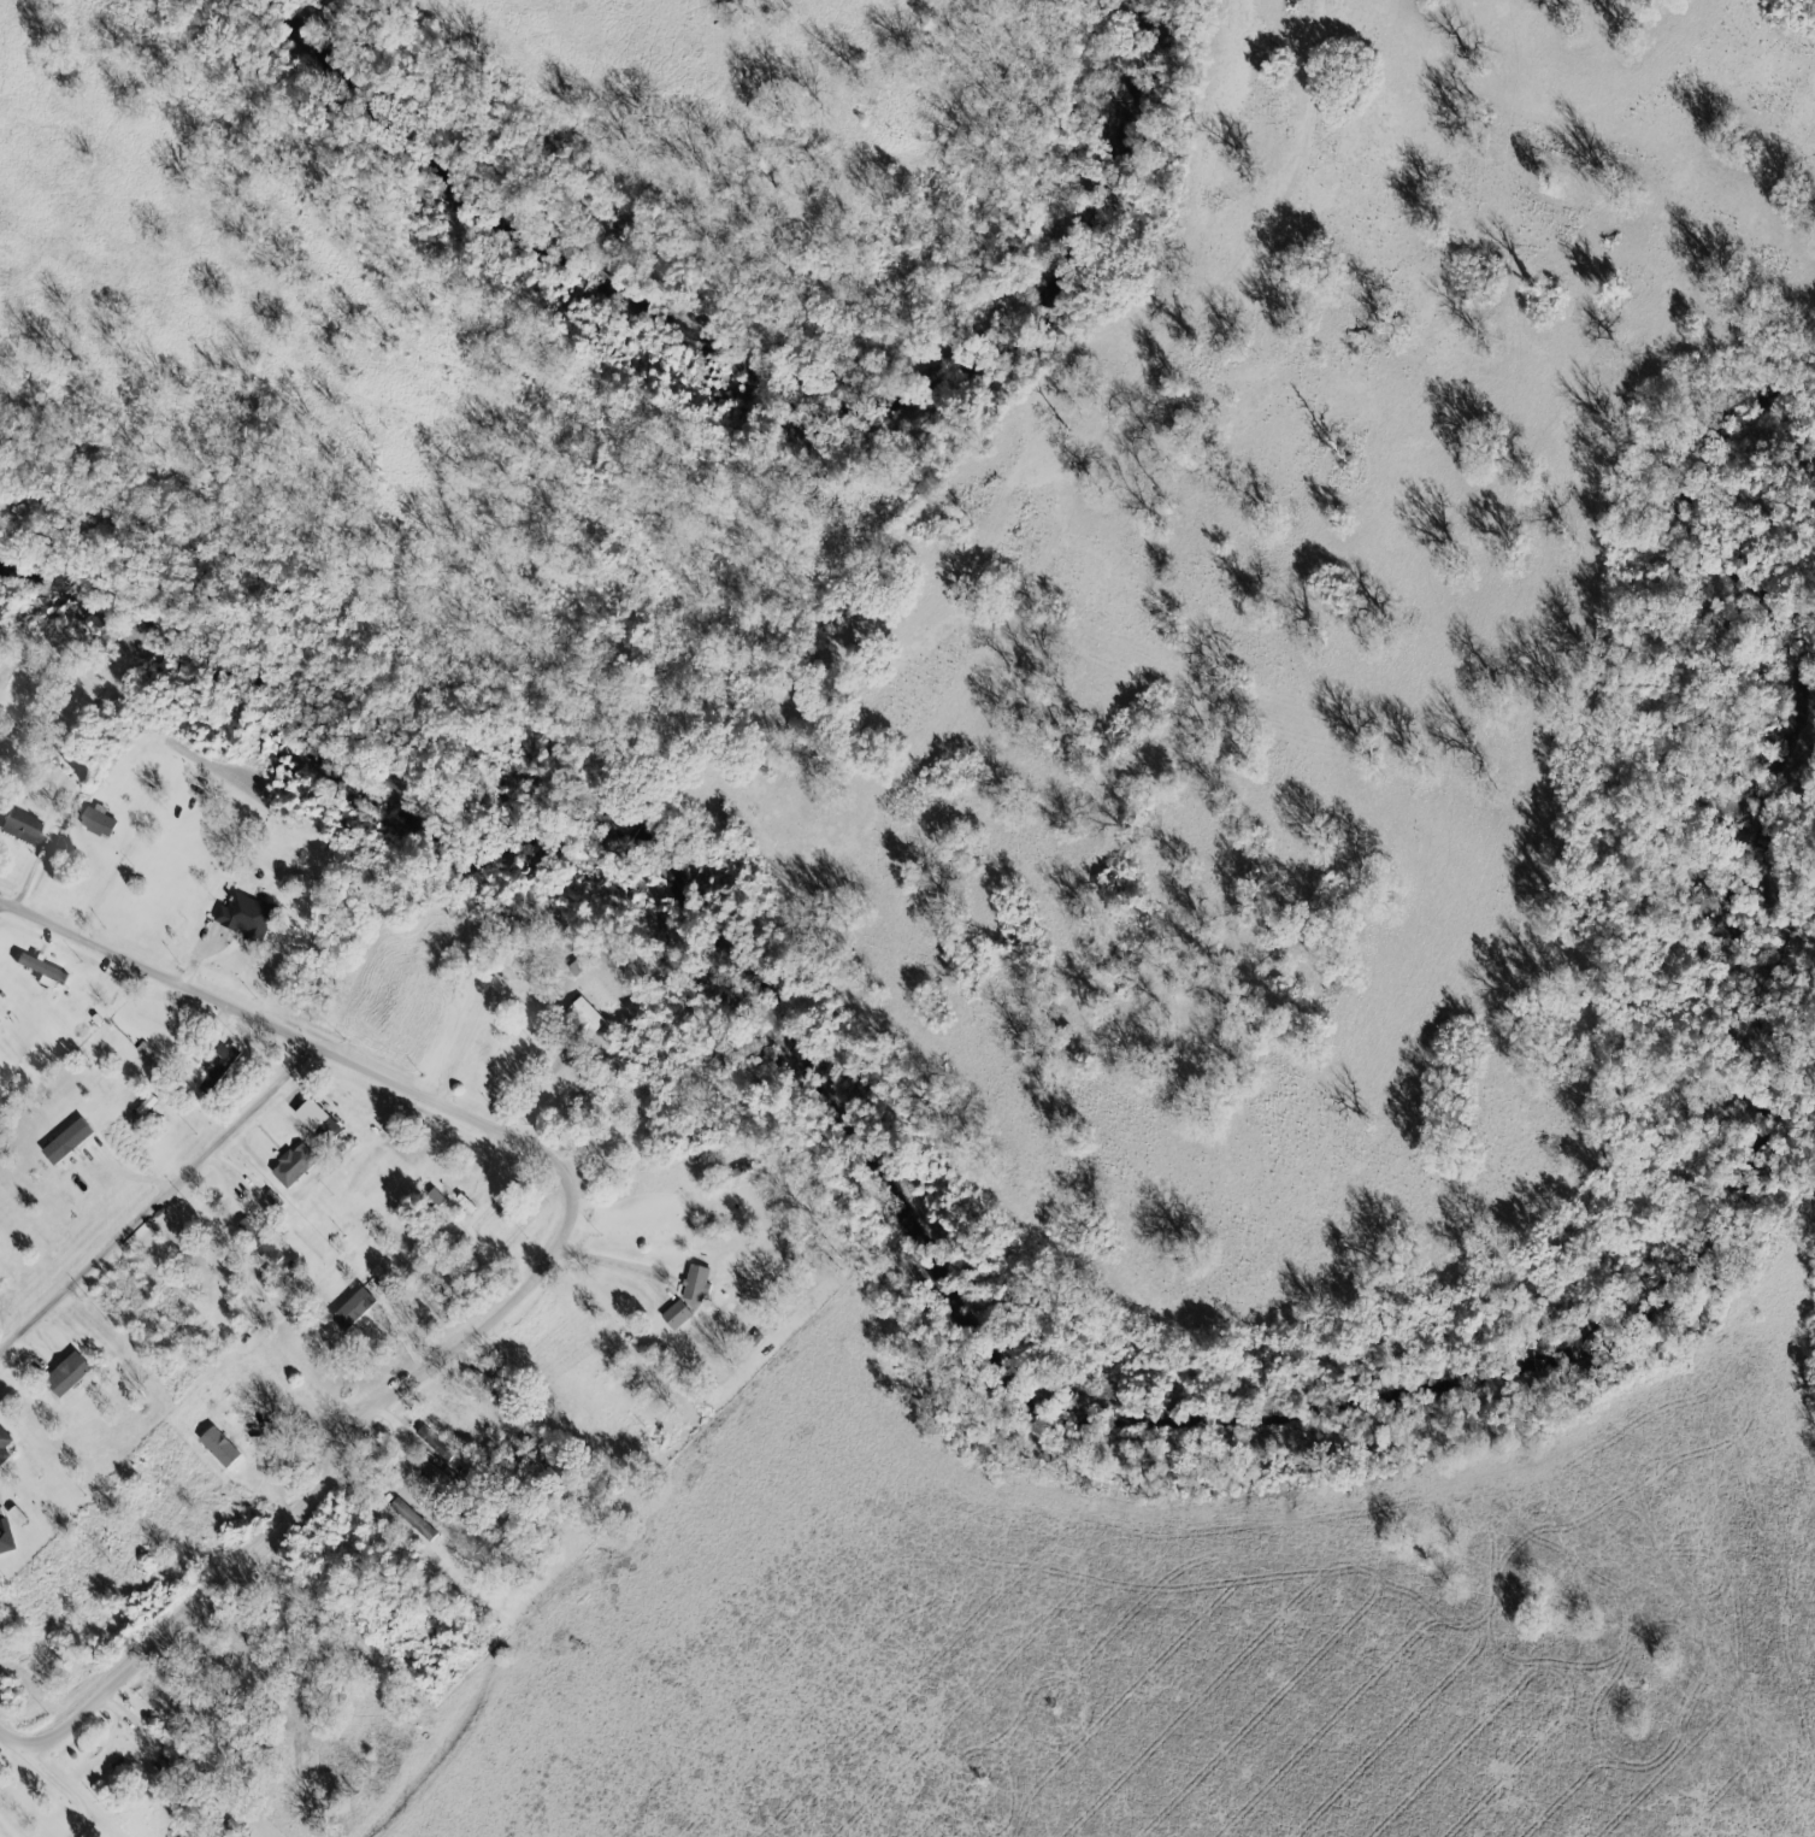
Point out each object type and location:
building: (100, 822)
building: (23, 825)
road: (0, 905)
building: (248, 915)
building: (45, 968)
building: (588, 1015)
building: (0, 1020)
building: (220, 1068)
building: (316, 1114)
building: (295, 1165)
building: (437, 1197)
road: (159, 1206)
building: (258, 1240)
road: (552, 1261)
building: (699, 1283)
building: (358, 1308)
building: (679, 1314)
building: (72, 1373)
building: (436, 1443)
building: (5, 1444)
building: (223, 1447)
building: (416, 1520)
building: (6, 1537)
road: (47, 1774)
road: (83, 1829)

